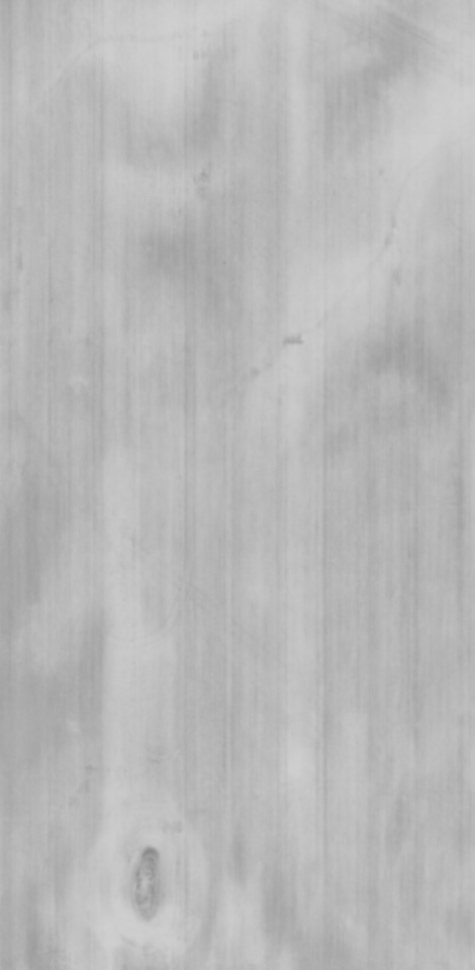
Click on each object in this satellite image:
road: (449, 12)
road: (208, 696)

